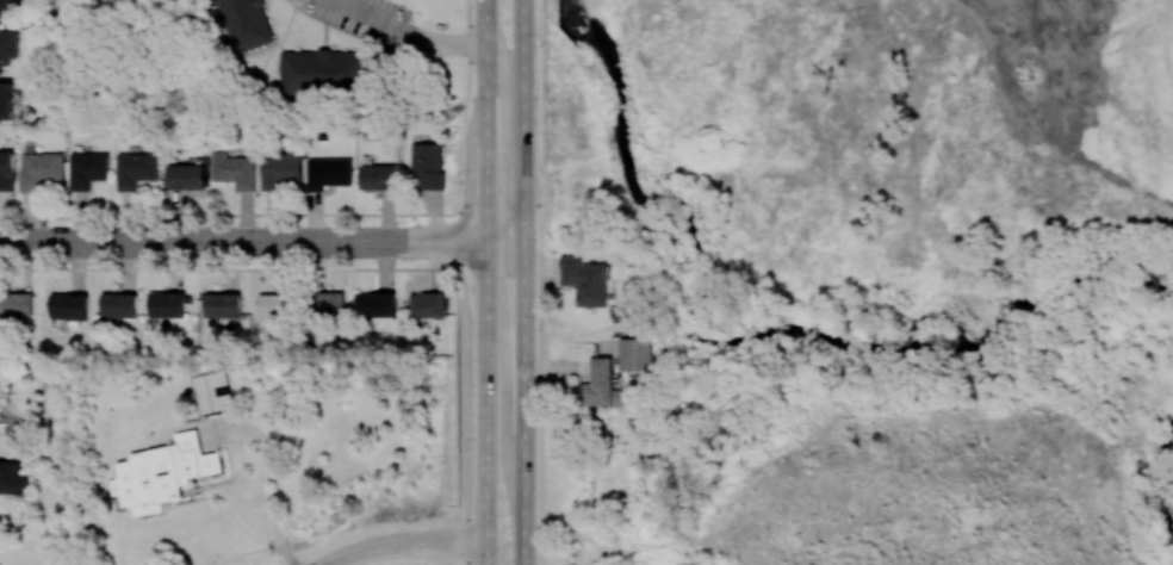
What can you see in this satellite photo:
building: (10, 5)
road: (523, 15)
building: (243, 23)
road: (410, 33)
park: (1107, 35)
building: (8, 43)
road: (1028, 43)
building: (323, 70)
building: (6, 100)
road: (523, 125)
building: (427, 164)
park: (845, 164)
building: (7, 168)
building: (87, 168)
building: (136, 168)
building: (42, 169)
building: (235, 169)
building: (281, 170)
building: (329, 172)
building: (187, 175)
building: (379, 176)
road: (504, 201)
road: (230, 215)
road: (262, 240)
road: (230, 266)
building: (585, 279)
road: (464, 280)
road: (540, 281)
road: (486, 282)
building: (15, 303)
building: (327, 303)
building: (118, 304)
building: (167, 304)
building: (222, 304)
building: (376, 304)
building: (428, 304)
building: (68, 305)
building: (275, 305)
river: (774, 329)
building: (634, 353)
building: (600, 384)
road: (525, 392)
road: (247, 428)
park: (1159, 435)
building: (165, 473)
building: (12, 477)
river: (1153, 482)
road: (278, 534)
park: (1155, 539)
road: (385, 540)
road: (471, 540)

